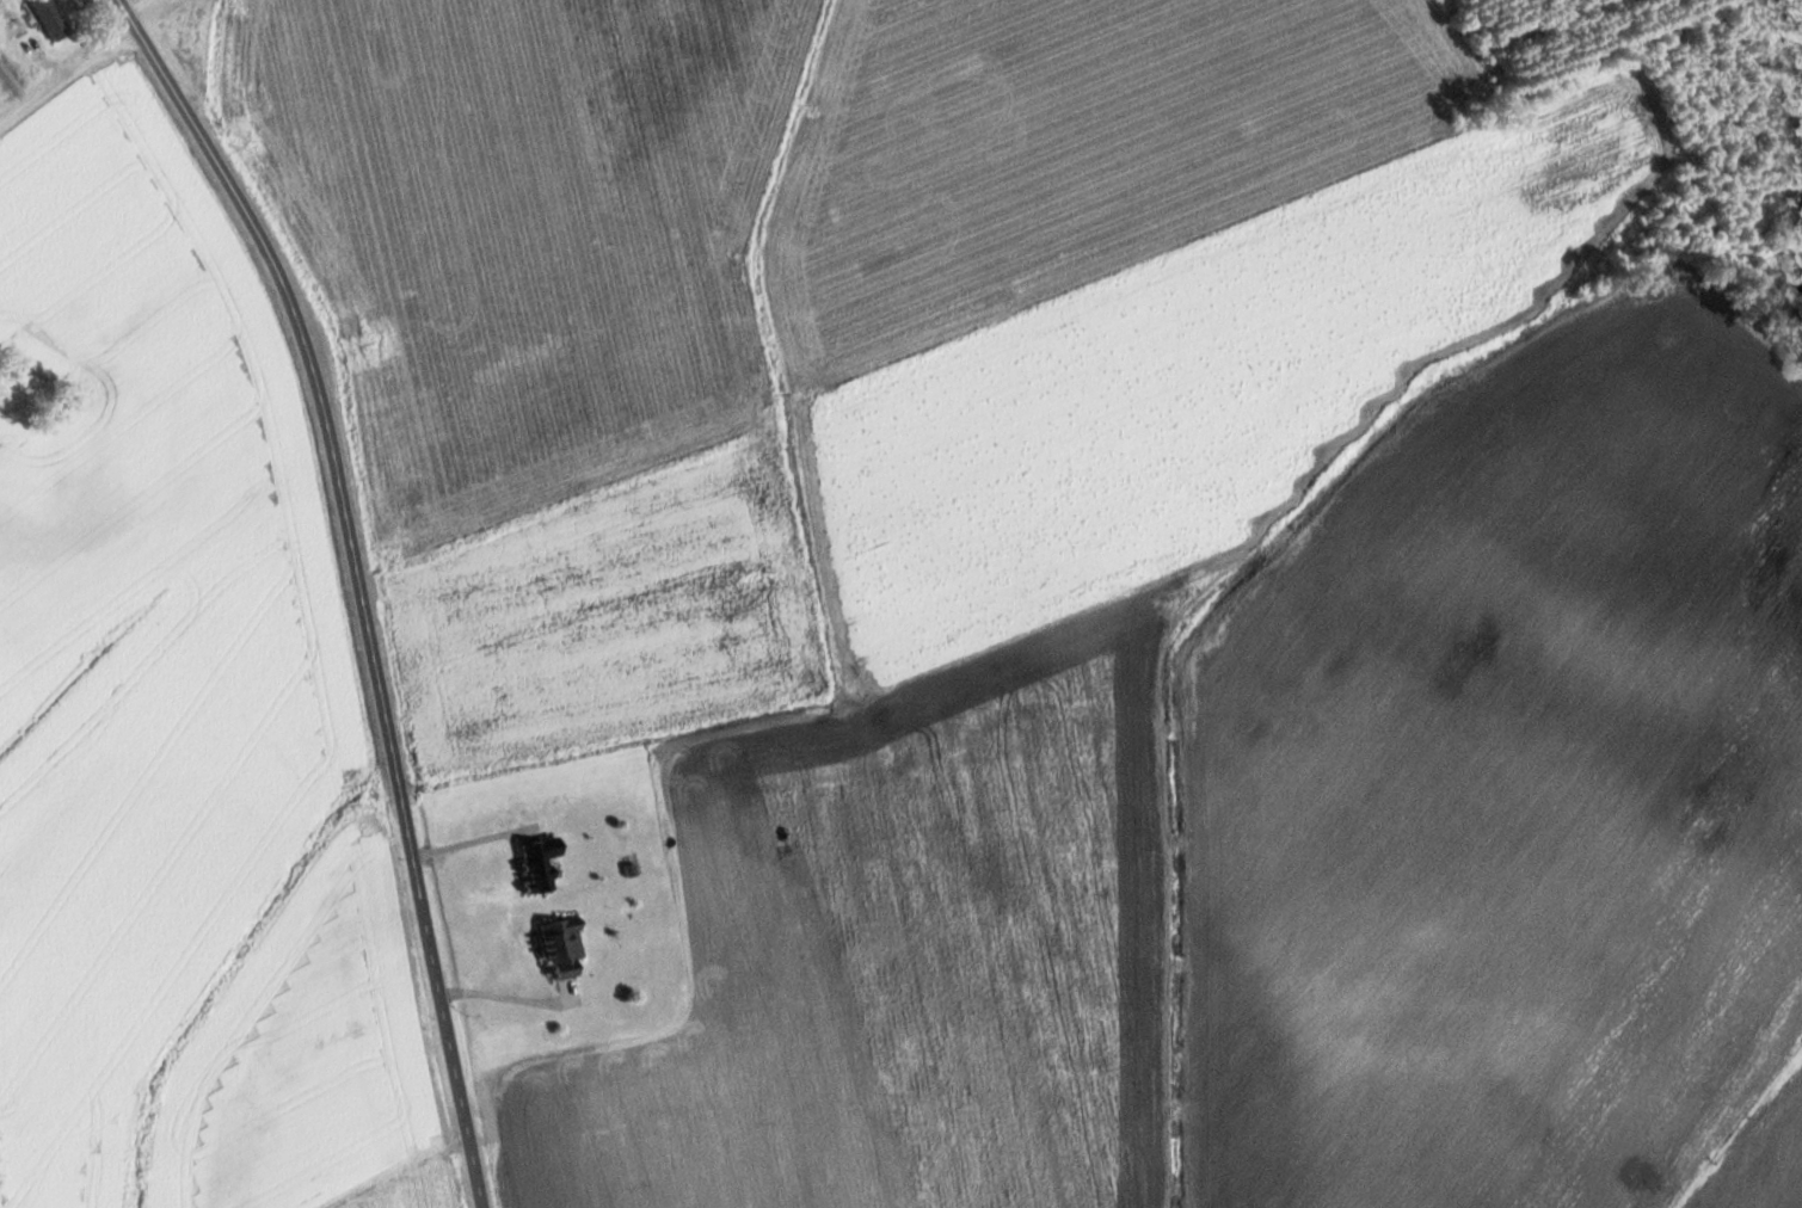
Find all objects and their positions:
building: (53, 19)
road: (63, 67)
road: (358, 583)
building: (540, 864)
building: (565, 947)

